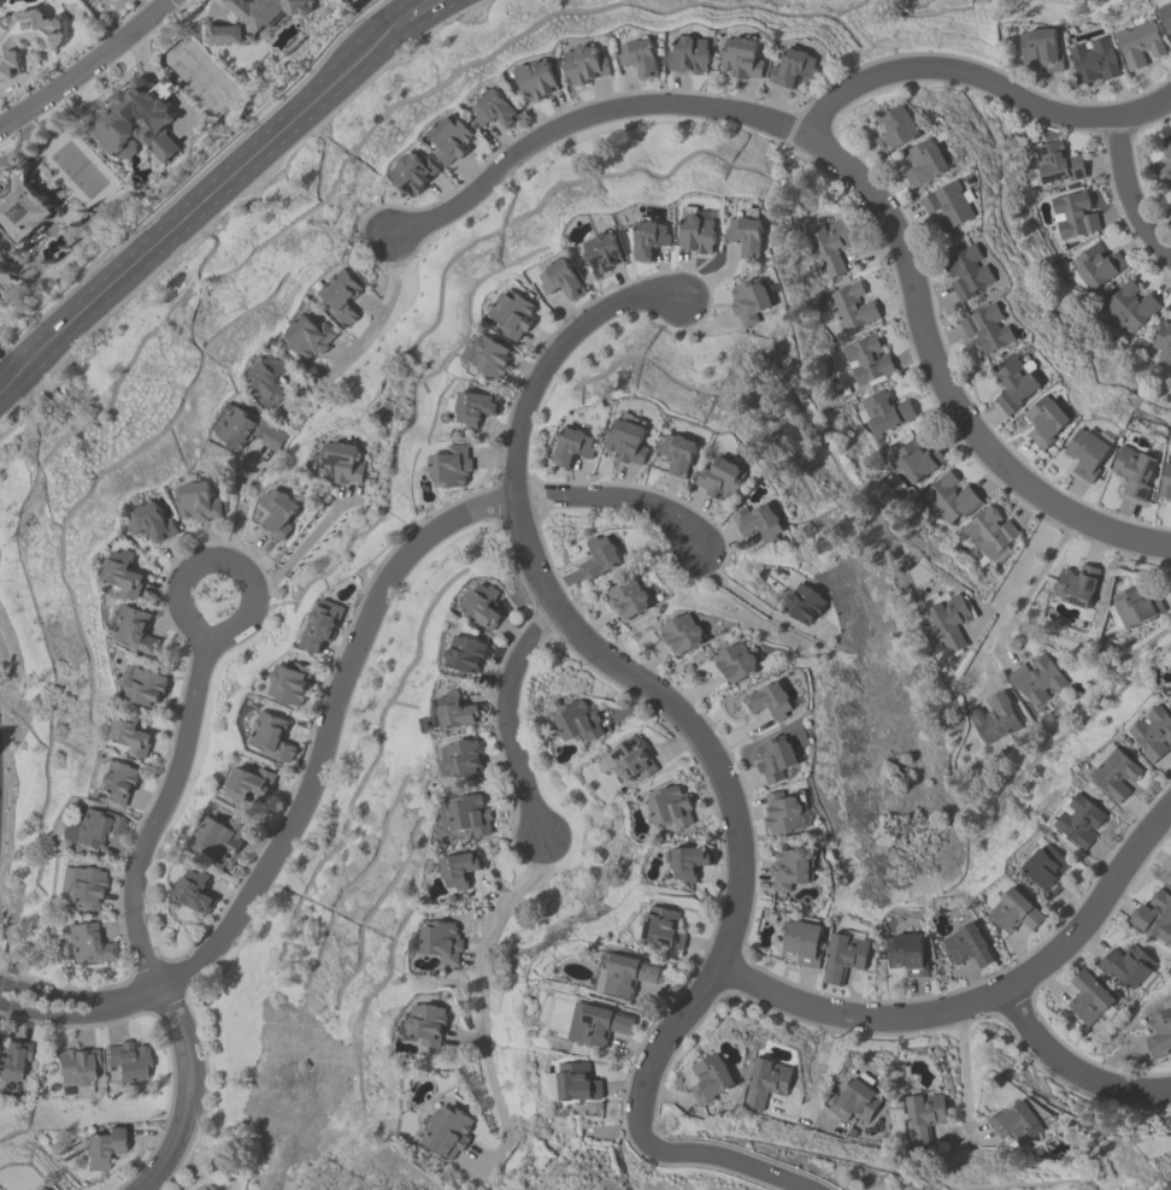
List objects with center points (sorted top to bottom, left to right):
building: (106, 2)
road: (418, 8)
building: (267, 12)
building: (1165, 13)
building: (228, 36)
building: (25, 40)
building: (1141, 46)
building: (1041, 49)
building: (690, 55)
building: (641, 58)
building: (742, 59)
building: (1095, 61)
road: (83, 64)
building: (587, 66)
building: (796, 69)
road: (979, 77)
building: (539, 81)
building: (495, 112)
building: (136, 123)
building: (898, 129)
building: (453, 140)
building: (1166, 161)
building: (925, 164)
building: (1057, 165)
building: (416, 173)
road: (853, 177)
road: (1126, 194)
road: (201, 204)
building: (948, 208)
building: (23, 210)
building: (1075, 214)
building: (699, 231)
building: (747, 236)
building: (649, 238)
building: (831, 248)
building: (604, 252)
building: (1094, 267)
building: (969, 273)
building: (561, 282)
building: (341, 297)
building: (749, 302)
building: (1131, 305)
building: (852, 308)
building: (514, 314)
building: (987, 330)
building: (310, 338)
road: (363, 340)
building: (1163, 341)
building: (490, 357)
building: (867, 361)
building: (271, 381)
building: (1017, 387)
building: (475, 410)
building: (884, 413)
building: (1047, 422)
building: (247, 430)
building: (629, 440)
building: (575, 448)
building: (1089, 453)
building: (676, 459)
building: (917, 460)
building: (341, 464)
building: (452, 467)
building: (1136, 472)
building: (723, 481)
building: (1166, 485)
building: (951, 501)
building: (199, 503)
road: (239, 508)
building: (279, 513)
building: (152, 523)
building: (759, 523)
building: (989, 535)
road: (304, 542)
building: (600, 558)
road: (220, 559)
building: (125, 575)
road: (1012, 577)
road: (1035, 581)
building: (1076, 587)
road: (741, 595)
building: (628, 597)
building: (806, 603)
building: (486, 606)
road: (990, 607)
building: (1134, 608)
building: (948, 620)
building: (322, 626)
building: (136, 631)
building: (684, 635)
building: (466, 654)
building: (739, 662)
building: (1036, 681)
building: (292, 684)
building: (147, 688)
building: (771, 702)
road: (331, 711)
building: (457, 712)
road: (507, 719)
building: (995, 720)
building: (576, 721)
building: (133, 735)
building: (1152, 735)
building: (273, 738)
road: (699, 738)
building: (460, 759)
building: (776, 759)
building: (630, 760)
building: (1117, 774)
building: (119, 782)
building: (249, 785)
building: (669, 808)
building: (787, 812)
building: (470, 815)
building: (1079, 821)
building: (96, 827)
building: (224, 840)
building: (689, 865)
building: (792, 868)
building: (1046, 870)
building: (460, 872)
building: (87, 888)
building: (196, 891)
road: (1095, 906)
building: (1014, 911)
building: (1154, 918)
road: (135, 920)
building: (663, 929)
building: (441, 942)
building: (805, 943)
building: (88, 947)
building: (969, 947)
building: (908, 955)
building: (846, 956)
building: (1128, 967)
building: (625, 976)
building: (1089, 1000)
road: (479, 1003)
road: (859, 1018)
building: (599, 1025)
building: (428, 1026)
building: (1159, 1035)
building: (14, 1064)
building: (130, 1064)
building: (77, 1068)
road: (1070, 1070)
road: (964, 1072)
road: (817, 1078)
building: (711, 1080)
building: (575, 1083)
building: (766, 1083)
building: (858, 1101)
building: (926, 1112)
building: (1018, 1125)
building: (449, 1132)
building: (102, 1149)
building: (39, 1188)

